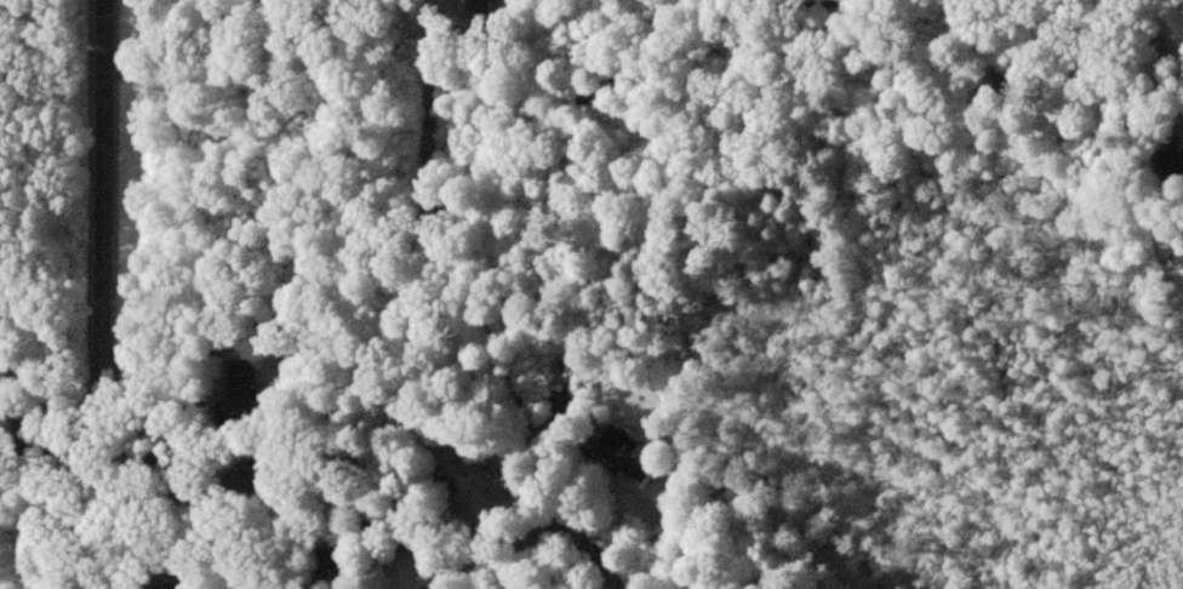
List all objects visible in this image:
building: (478, 1)
road: (430, 111)
building: (1171, 159)
road: (107, 175)
road: (475, 189)
building: (240, 382)
road: (56, 395)
road: (515, 413)
building: (622, 451)
road: (112, 469)
road: (276, 474)
road: (495, 551)
road: (429, 588)
road: (432, 588)

